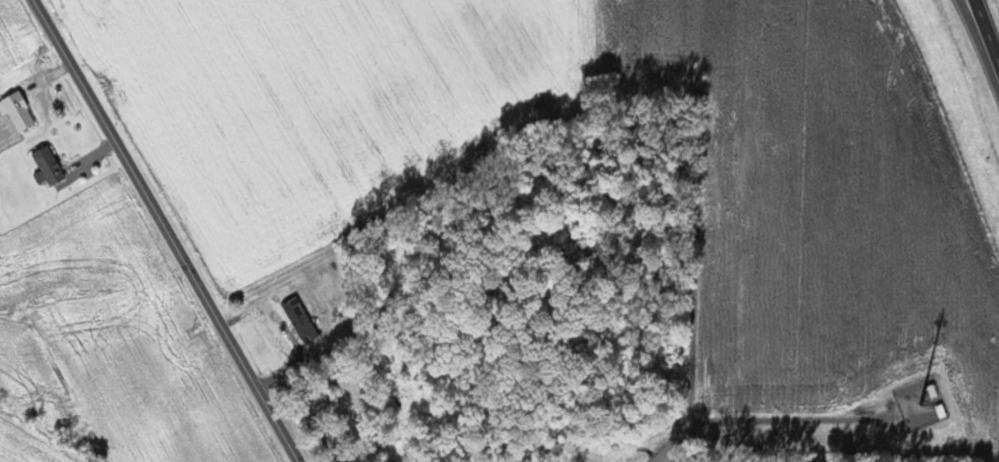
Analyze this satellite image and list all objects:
road: (977, 23)
road: (985, 33)
building: (19, 110)
building: (49, 165)
road: (168, 231)
building: (302, 318)
road: (760, 419)

